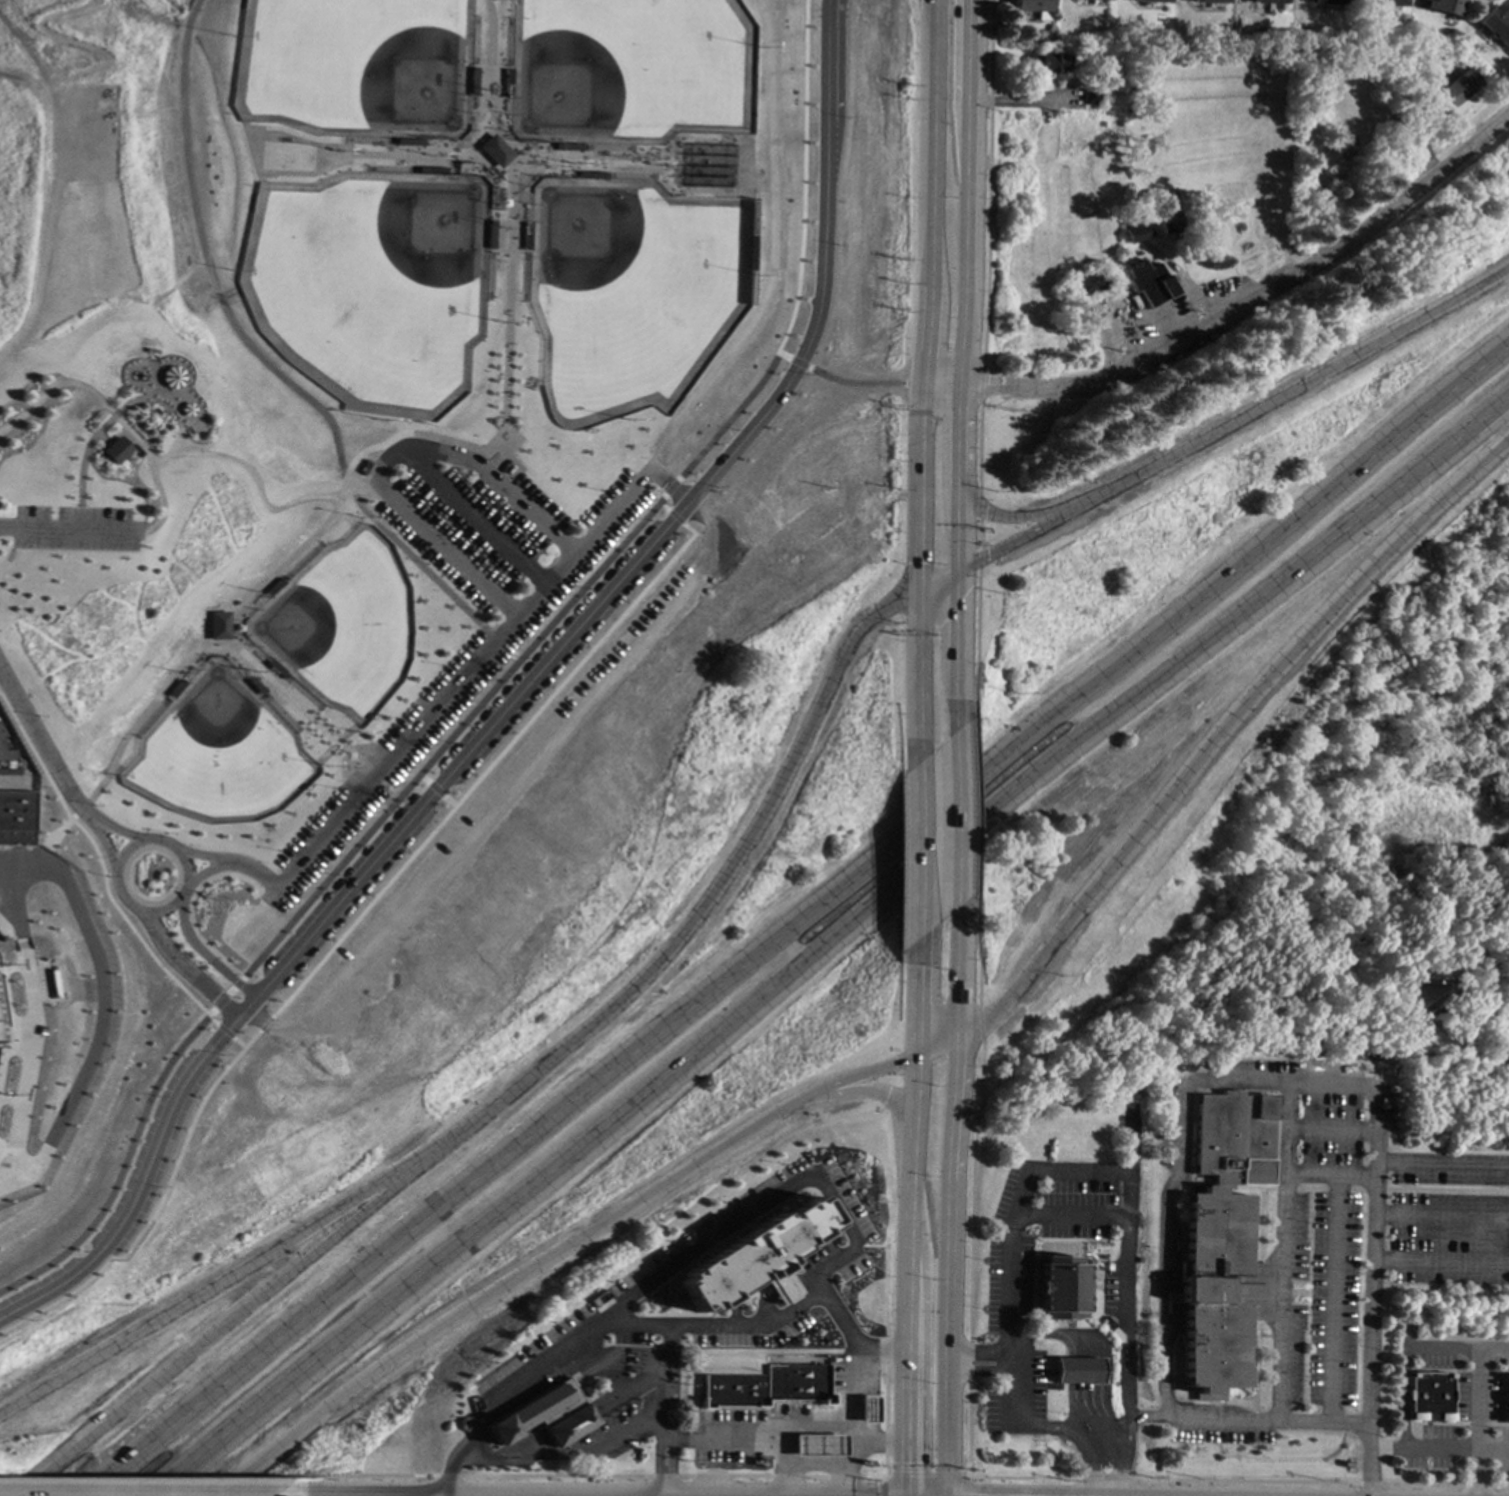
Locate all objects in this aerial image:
building: (1095, 0)
building: (1151, 0)
building: (1210, 1)
building: (1269, 1)
building: (1327, 1)
building: (1388, 2)
building: (1443, 6)
building: (1031, 7)
building: (1495, 26)
building: (1046, 62)
park: (342, 68)
park: (618, 71)
building: (1103, 80)
road: (480, 86)
building: (1450, 92)
road: (832, 94)
building: (1089, 96)
road: (1022, 101)
building: (1310, 106)
building: (1342, 145)
building: (482, 153)
road: (317, 155)
road: (796, 177)
road: (1317, 190)
road: (33, 214)
building: (1165, 214)
building: (1133, 230)
road: (498, 233)
road: (762, 249)
road: (816, 273)
building: (1148, 281)
building: (1087, 282)
road: (967, 284)
park: (360, 287)
park: (619, 294)
road: (1238, 307)
road: (242, 351)
road: (798, 364)
road: (923, 373)
building: (154, 378)
road: (864, 384)
road: (1290, 391)
road: (734, 414)
road: (92, 419)
road: (104, 424)
building: (98, 451)
road: (157, 452)
road: (498, 455)
road: (487, 465)
road: (377, 466)
road: (503, 479)
road: (489, 485)
road: (667, 486)
road: (244, 487)
road: (670, 488)
road: (354, 489)
road: (662, 506)
traffic signals: (987, 512)
road: (675, 517)
road: (1010, 517)
road: (62, 518)
parking lot: (59, 529)
road: (59, 531)
road: (1015, 539)
road: (571, 554)
traffic signals: (988, 554)
traffic signals: (921, 563)
road: (590, 578)
road: (262, 580)
traffic signals: (960, 603)
building: (215, 626)
park: (335, 626)
road: (494, 640)
road: (960, 644)
road: (514, 658)
parking lot: (453, 684)
road: (294, 704)
road: (1210, 752)
road: (41, 754)
park: (214, 754)
road: (376, 757)
road: (344, 763)
road: (384, 764)
road: (423, 778)
road: (354, 783)
road: (435, 789)
road: (448, 802)
road: (76, 809)
building: (13, 818)
road: (379, 819)
road: (959, 824)
road: (54, 832)
road: (115, 832)
road: (102, 845)
road: (914, 853)
road: (199, 854)
road: (252, 869)
road: (99, 871)
road: (202, 872)
road: (113, 878)
road: (332, 910)
road: (800, 923)
road: (344, 931)
road: (828, 944)
road: (202, 954)
road: (183, 969)
road: (235, 984)
road: (228, 993)
building: (1419, 999)
road: (219, 1003)
road: (912, 1008)
road: (222, 1031)
building: (2, 1033)
road: (236, 1043)
road: (538, 1066)
road: (1333, 1084)
road: (875, 1092)
building: (1130, 1093)
road: (1284, 1128)
road: (1328, 1132)
road: (1129, 1157)
road: (121, 1163)
road: (1440, 1164)
road: (1283, 1178)
road: (1020, 1201)
road: (949, 1211)
road: (835, 1212)
road: (1441, 1216)
parking lot: (1364, 1223)
building: (1221, 1239)
road: (558, 1258)
building: (756, 1258)
road: (1441, 1260)
road: (908, 1276)
road: (1014, 1285)
building: (1060, 1288)
road: (199, 1297)
road: (1165, 1297)
road: (1329, 1298)
road: (1127, 1316)
road: (847, 1335)
road: (667, 1348)
road: (1013, 1359)
road: (1084, 1359)
road: (980, 1363)
building: (1075, 1371)
road: (521, 1379)
road: (667, 1380)
building: (766, 1386)
road: (1013, 1396)
building: (1428, 1397)
building: (1507, 1400)
building: (867, 1409)
building: (544, 1414)
road: (1077, 1417)
road: (1220, 1418)
road: (1074, 1434)
road: (466, 1440)
building: (818, 1445)
gas station: (818, 1445)
road: (1442, 1448)
road: (1367, 1458)
road: (785, 1462)
traffic signals: (905, 1463)
road: (925, 1473)
road: (446, 1474)
road: (587, 1476)
road: (968, 1476)
road: (785, 1479)
road: (841, 1479)
road: (144, 1480)
road: (878, 1486)
road: (971, 1486)

